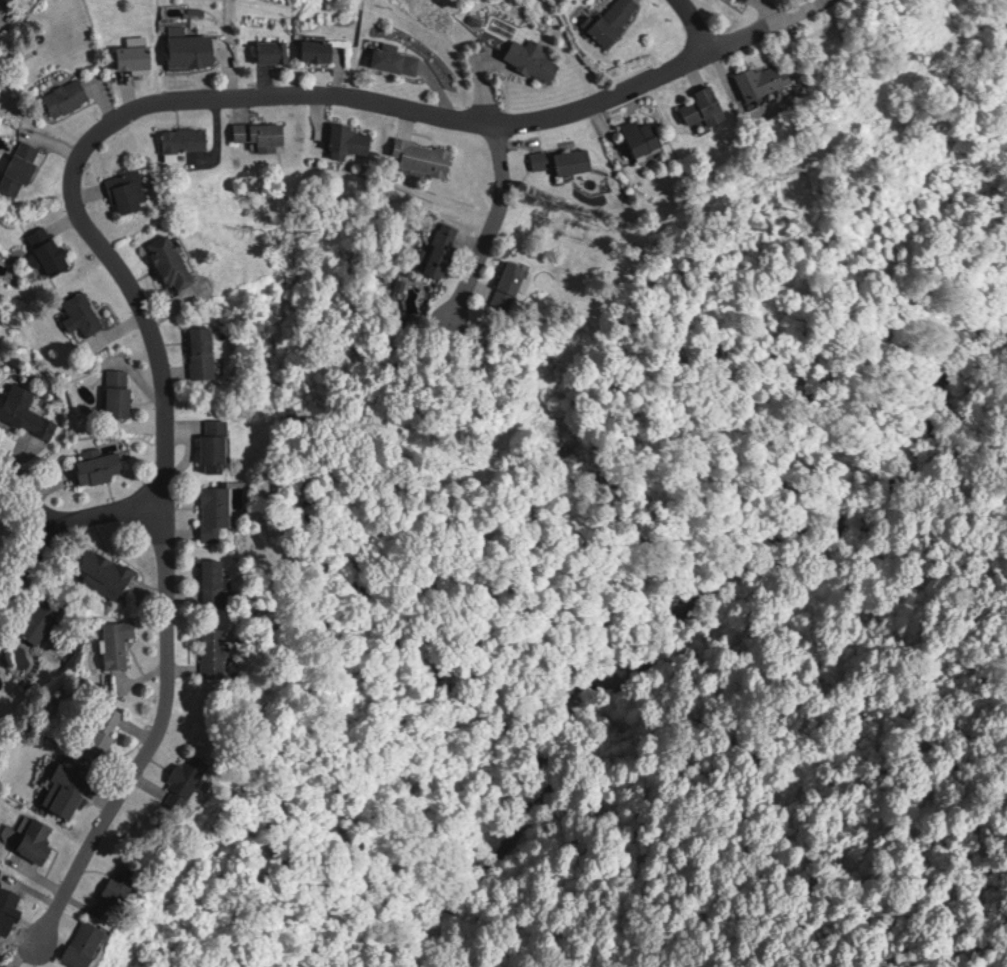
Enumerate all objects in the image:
building: (748, 0)
building: (1, 3)
building: (618, 20)
road: (694, 22)
building: (195, 49)
building: (321, 49)
building: (277, 50)
building: (138, 56)
building: (535, 58)
building: (397, 60)
building: (769, 79)
road: (235, 91)
building: (70, 96)
building: (710, 106)
building: (264, 133)
building: (646, 136)
building: (187, 138)
building: (352, 140)
building: (424, 156)
building: (542, 159)
building: (576, 160)
building: (24, 166)
building: (131, 192)
road: (499, 212)
building: (53, 249)
building: (445, 250)
building: (175, 262)
building: (514, 284)
building: (85, 313)
building: (204, 352)
building: (121, 392)
building: (27, 411)
building: (217, 445)
building: (102, 467)
road: (38, 478)
building: (217, 511)
road: (63, 522)
building: (107, 572)
building: (216, 580)
building: (44, 616)
building: (119, 641)
building: (219, 652)
building: (105, 730)
road: (152, 736)
building: (197, 773)
building: (70, 787)
building: (40, 838)
building: (130, 881)
building: (11, 908)
building: (94, 941)
building: (15, 965)

